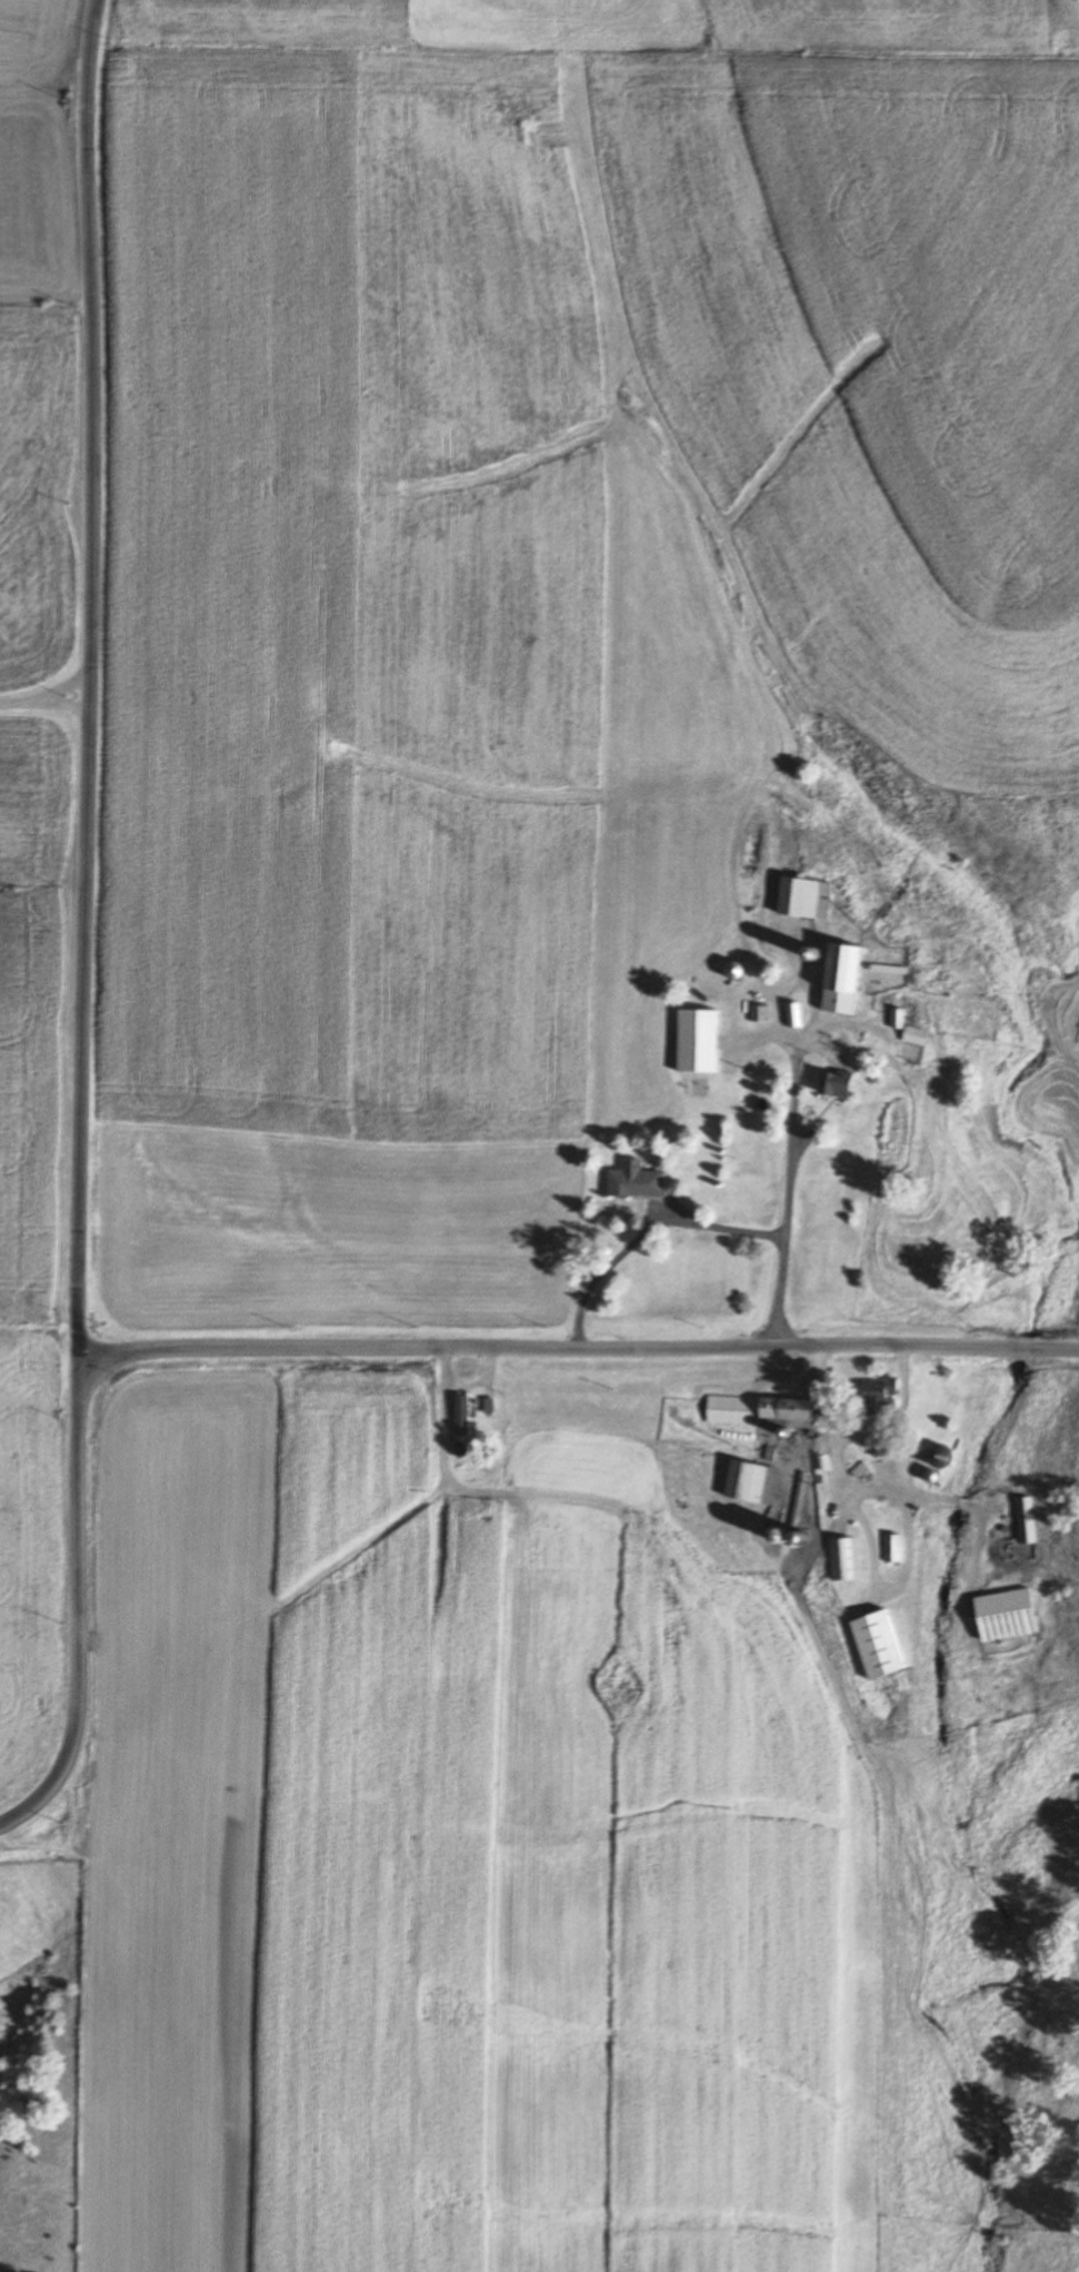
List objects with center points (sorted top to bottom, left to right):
road: (87, 682)
road: (43, 702)
building: (808, 899)
building: (737, 972)
building: (846, 979)
building: (796, 1015)
building: (912, 1031)
building: (700, 1042)
building: (847, 1087)
building: (638, 1181)
road: (330, 1350)
building: (883, 1399)
building: (765, 1412)
building: (463, 1428)
road: (853, 1431)
building: (943, 1459)
building: (755, 1484)
road: (881, 1489)
building: (1027, 1522)
building: (895, 1550)
building: (843, 1561)
building: (1010, 1616)
building: (883, 1647)

